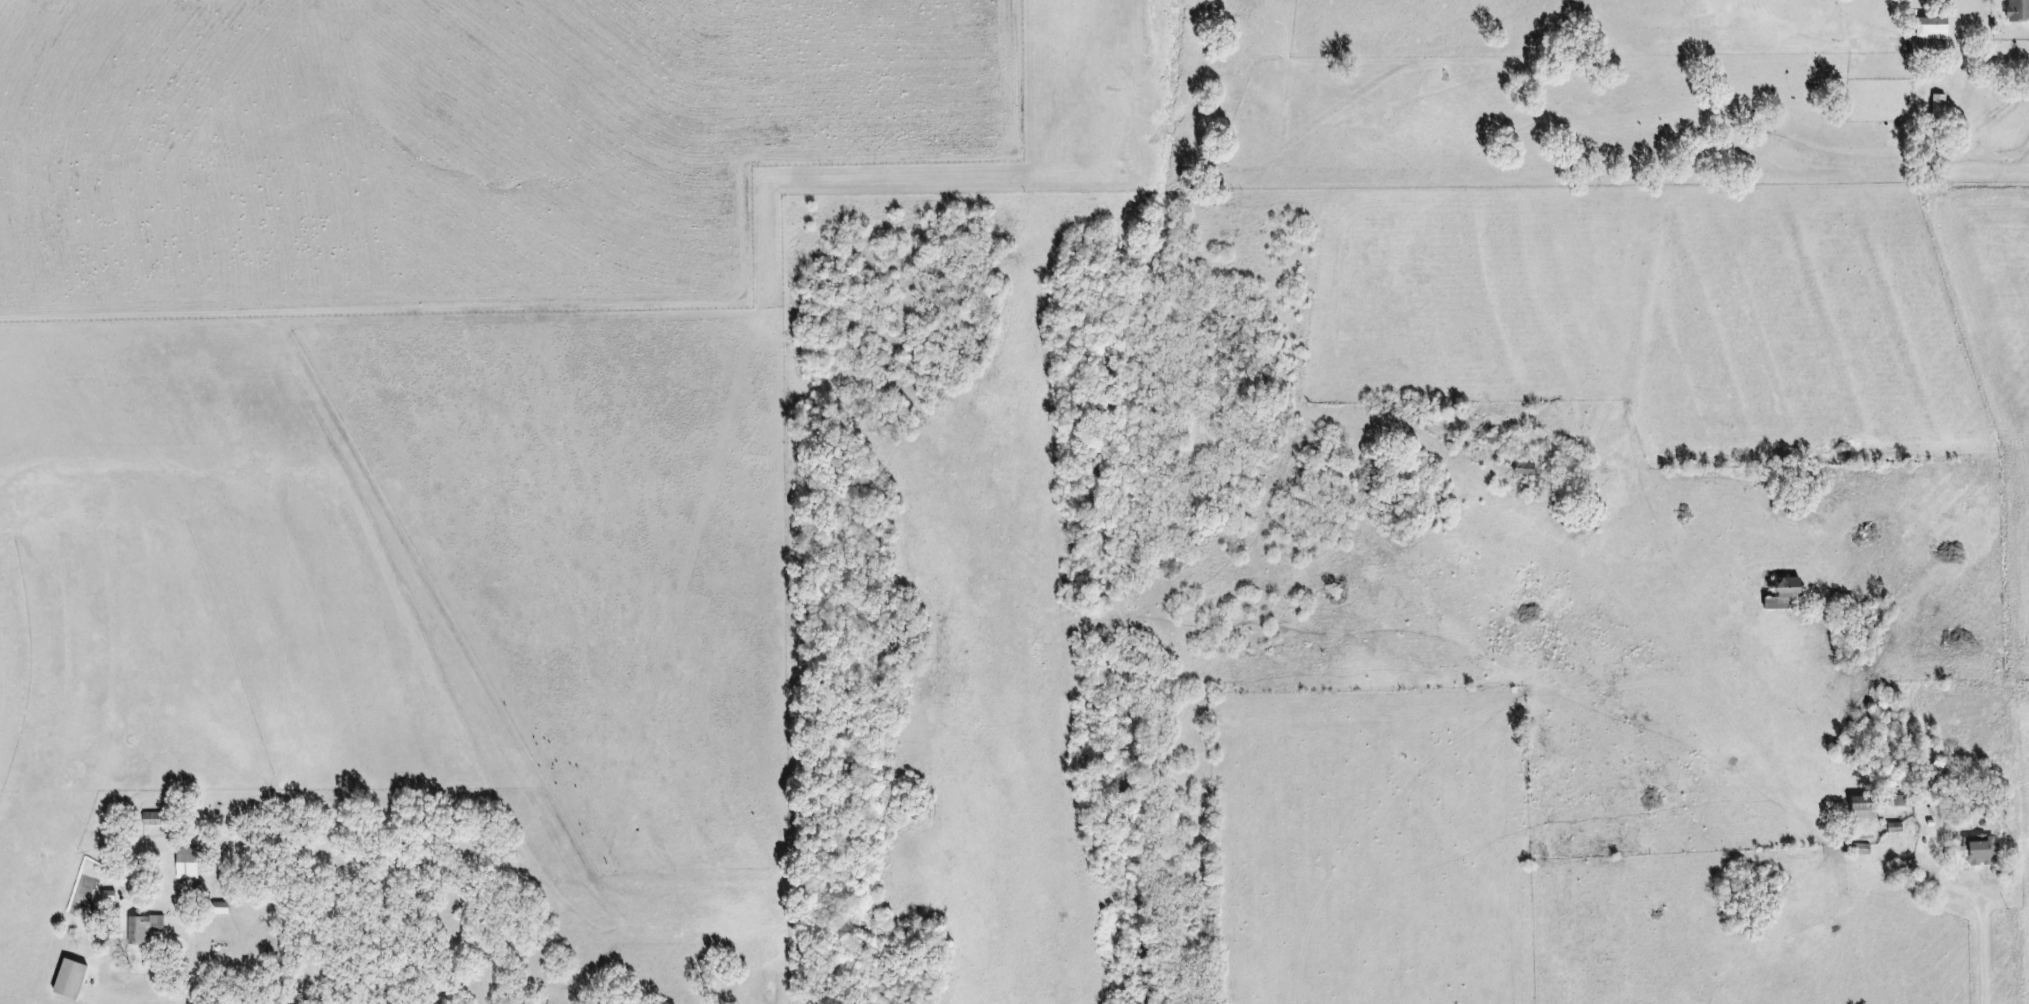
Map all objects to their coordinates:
building: (2018, 9)
building: (1931, 28)
building: (1939, 105)
building: (1785, 593)
building: (151, 818)
building: (1980, 850)
building: (186, 862)
building: (151, 922)
building: (70, 977)

